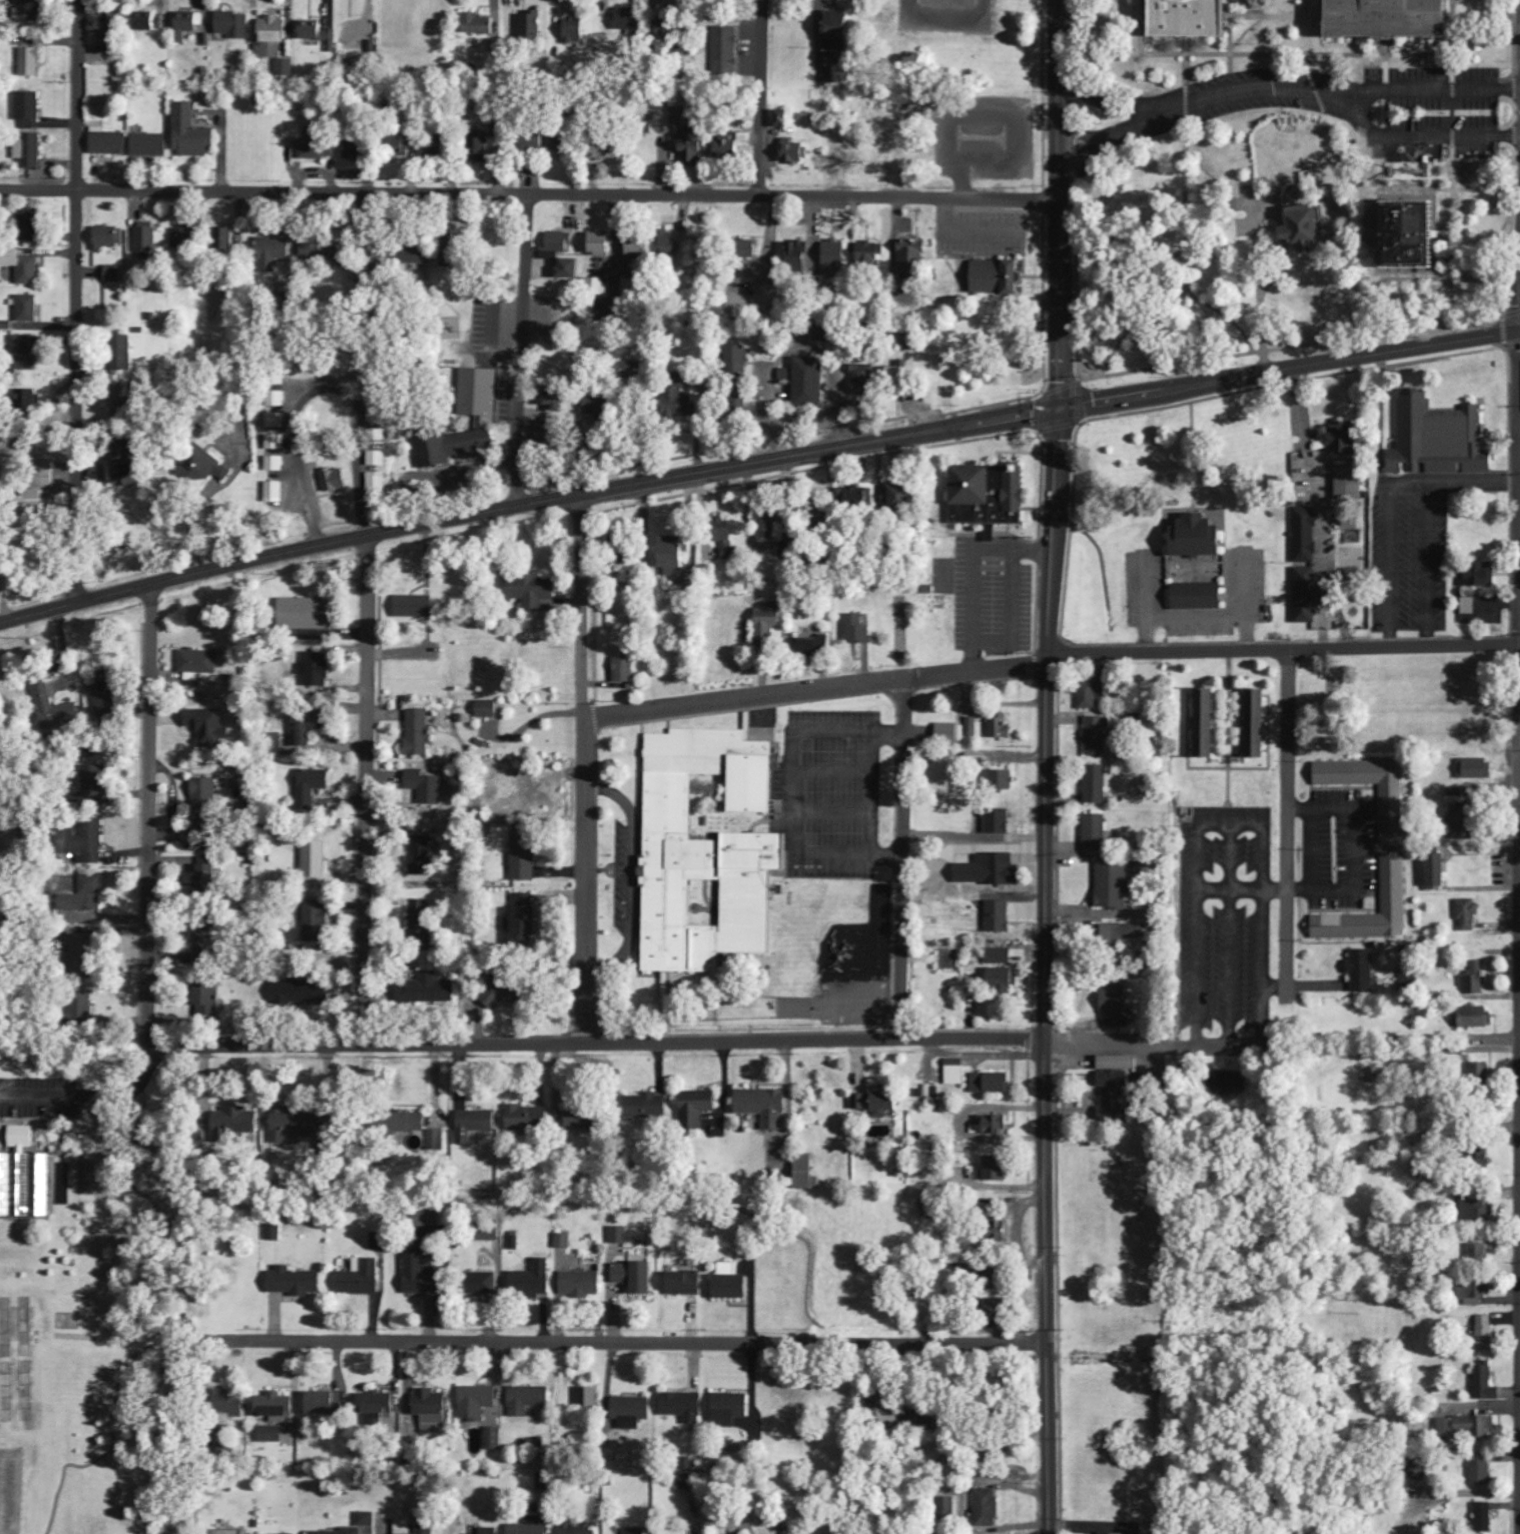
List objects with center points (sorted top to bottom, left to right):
building: (1274, 2)
building: (31, 11)
building: (628, 19)
building: (1196, 19)
building: (1396, 20)
building: (149, 21)
building: (533, 22)
building: (232, 25)
building: (477, 25)
building: (186, 27)
road: (1143, 27)
road: (1310, 27)
road: (1452, 27)
building: (664, 28)
building: (314, 32)
building: (574, 32)
building: (107, 34)
road: (1076, 37)
road: (1514, 37)
building: (271, 38)
building: (837, 38)
building: (725, 51)
road: (1297, 54)
road: (1452, 65)
building: (27, 66)
building: (285, 68)
road: (1514, 86)
road: (1077, 88)
road: (1453, 88)
road: (1416, 89)
road: (760, 98)
building: (28, 105)
road: (1120, 106)
road: (1515, 108)
road: (1453, 111)
road: (1177, 112)
road: (1078, 113)
building: (782, 118)
building: (687, 130)
building: (192, 133)
road: (1515, 133)
road: (1453, 135)
road: (1410, 136)
road: (1090, 137)
building: (534, 139)
building: (108, 142)
building: (562, 143)
building: (150, 145)
building: (481, 147)
building: (319, 148)
building: (355, 149)
building: (401, 149)
building: (28, 150)
building: (435, 150)
building: (607, 150)
building: (727, 151)
building: (796, 153)
road: (1078, 156)
road: (1484, 158)
road: (1515, 175)
road: (530, 194)
road: (1453, 198)
road: (1060, 203)
building: (1305, 217)
building: (28, 224)
building: (1425, 233)
building: (108, 237)
building: (146, 237)
building: (223, 238)
building: (183, 239)
building: (600, 244)
building: (556, 245)
building: (668, 245)
building: (273, 247)
building: (750, 249)
building: (325, 251)
building: (870, 255)
building: (417, 256)
building: (801, 256)
building: (912, 256)
building: (834, 257)
building: (447, 259)
building: (21, 265)
building: (570, 268)
building: (114, 274)
building: (998, 277)
building: (597, 286)
road: (77, 301)
building: (29, 305)
road: (1262, 314)
road: (521, 350)
building: (24, 353)
building: (121, 353)
building: (737, 362)
building: (634, 370)
building: (787, 375)
building: (899, 375)
building: (864, 381)
building: (810, 383)
building: (683, 384)
building: (377, 393)
building: (556, 397)
building: (276, 399)
building: (29, 400)
building: (123, 400)
building: (741, 402)
building: (679, 404)
building: (597, 407)
traffic signals: (1061, 408)
building: (377, 415)
building: (275, 420)
building: (480, 423)
building: (549, 434)
building: (1345, 439)
building: (1440, 440)
building: (275, 442)
building: (376, 458)
road: (756, 463)
building: (126, 468)
building: (202, 468)
building: (334, 480)
building: (1349, 480)
building: (376, 483)
building: (41, 492)
building: (901, 496)
building: (989, 496)
building: (854, 499)
building: (767, 520)
building: (1306, 534)
building: (1199, 537)
building: (728, 542)
building: (787, 551)
building: (672, 553)
building: (1478, 575)
building: (533, 592)
building: (1306, 595)
building: (1199, 596)
building: (413, 606)
building: (308, 614)
building: (766, 625)
building: (857, 629)
building: (813, 647)
road: (1283, 652)
building: (199, 665)
building: (317, 670)
building: (623, 670)
road: (816, 691)
building: (104, 700)
building: (55, 709)
building: (487, 709)
building: (1206, 723)
building: (1256, 723)
building: (1000, 726)
building: (209, 727)
building: (308, 727)
building: (972, 727)
building: (418, 732)
building: (950, 733)
building: (1096, 736)
building: (275, 743)
building: (1476, 769)
road: (585, 770)
building: (998, 780)
building: (95, 785)
building: (1095, 785)
building: (425, 786)
building: (311, 787)
road: (365, 791)
building: (205, 805)
road: (151, 816)
building: (1392, 816)
road: (1287, 819)
building: (998, 821)
building: (1461, 821)
building: (1094, 833)
building: (1, 836)
building: (83, 842)
building: (708, 853)
building: (422, 855)
building: (523, 856)
building: (314, 860)
road: (902, 860)
building: (989, 870)
building: (1437, 871)
building: (205, 877)
building: (1393, 884)
building: (68, 885)
building: (1112, 885)
building: (85, 896)
building: (1468, 913)
building: (998, 917)
building: (421, 920)
building: (524, 920)
building: (316, 921)
building: (1124, 934)
building: (203, 941)
road: (1519, 947)
building: (82, 957)
road: (1044, 970)
building: (1361, 971)
building: (1475, 980)
building: (1001, 981)
building: (1410, 981)
building: (425, 990)
building: (502, 990)
building: (300, 992)
building: (209, 1003)
building: (1117, 1004)
building: (82, 1007)
building: (1476, 1018)
road: (659, 1044)
building: (1120, 1063)
building: (955, 1072)
building: (1479, 1072)
building: (991, 1083)
building: (1115, 1097)
building: (877, 1103)
building: (645, 1107)
building: (764, 1107)
building: (696, 1108)
building: (527, 1118)
building: (582, 1119)
building: (236, 1121)
building: (402, 1122)
building: (294, 1123)
building: (474, 1124)
building: (992, 1126)
building: (435, 1140)
building: (996, 1169)
building: (807, 1173)
building: (100, 1176)
building: (25, 1178)
building: (1476, 1209)
building: (428, 1218)
building: (273, 1233)
building: (488, 1234)
building: (618, 1236)
building: (379, 1241)
building: (563, 1241)
building: (1479, 1255)
building: (419, 1275)
building: (636, 1277)
building: (361, 1278)
building: (532, 1281)
building: (296, 1282)
building: (481, 1284)
building: (684, 1284)
building: (580, 1285)
building: (731, 1288)
building: (1476, 1291)
park: (91, 1292)
building: (999, 1307)
road: (166, 1320)
building: (1485, 1333)
road: (641, 1341)
building: (1485, 1384)
building: (527, 1400)
building: (585, 1401)
building: (476, 1402)
building: (230, 1403)
building: (377, 1403)
building: (326, 1404)
building: (431, 1406)
building: (683, 1407)
building: (276, 1408)
building: (729, 1409)
building: (631, 1412)
building: (884, 1412)
building: (374, 1419)
building: (918, 1421)
building: (1466, 1427)
building: (271, 1434)
road: (112, 1437)
building: (493, 1439)
building: (1481, 1471)
building: (691, 1481)
building: (945, 1507)
building: (986, 1508)
building: (1483, 1518)
building: (366, 1519)
road: (168, 1520)
road: (64, 1523)
building: (404, 1527)
building: (529, 1527)
building: (578, 1527)
building: (426, 1529)
building: (352, 1530)
building: (489, 1531)
building: (634, 1531)
building: (225, 1532)
building: (1111, 1533)

